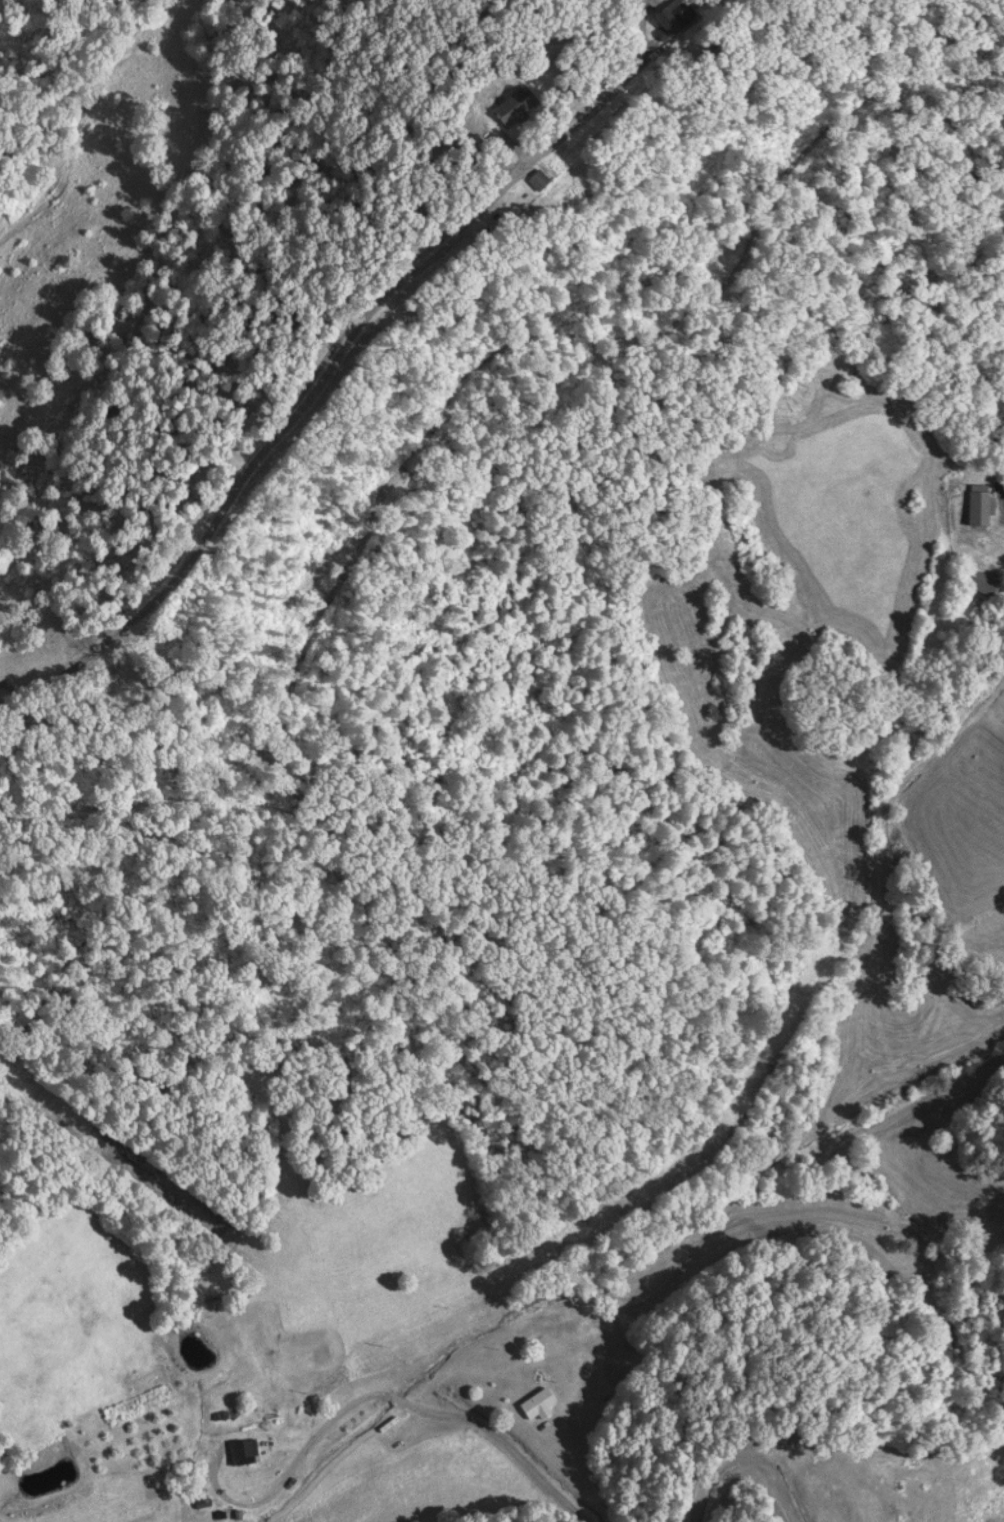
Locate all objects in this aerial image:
building: (515, 104)
building: (538, 179)
road: (341, 360)
building: (981, 503)
building: (982, 581)
road: (741, 1257)
building: (539, 1395)
building: (244, 1450)

